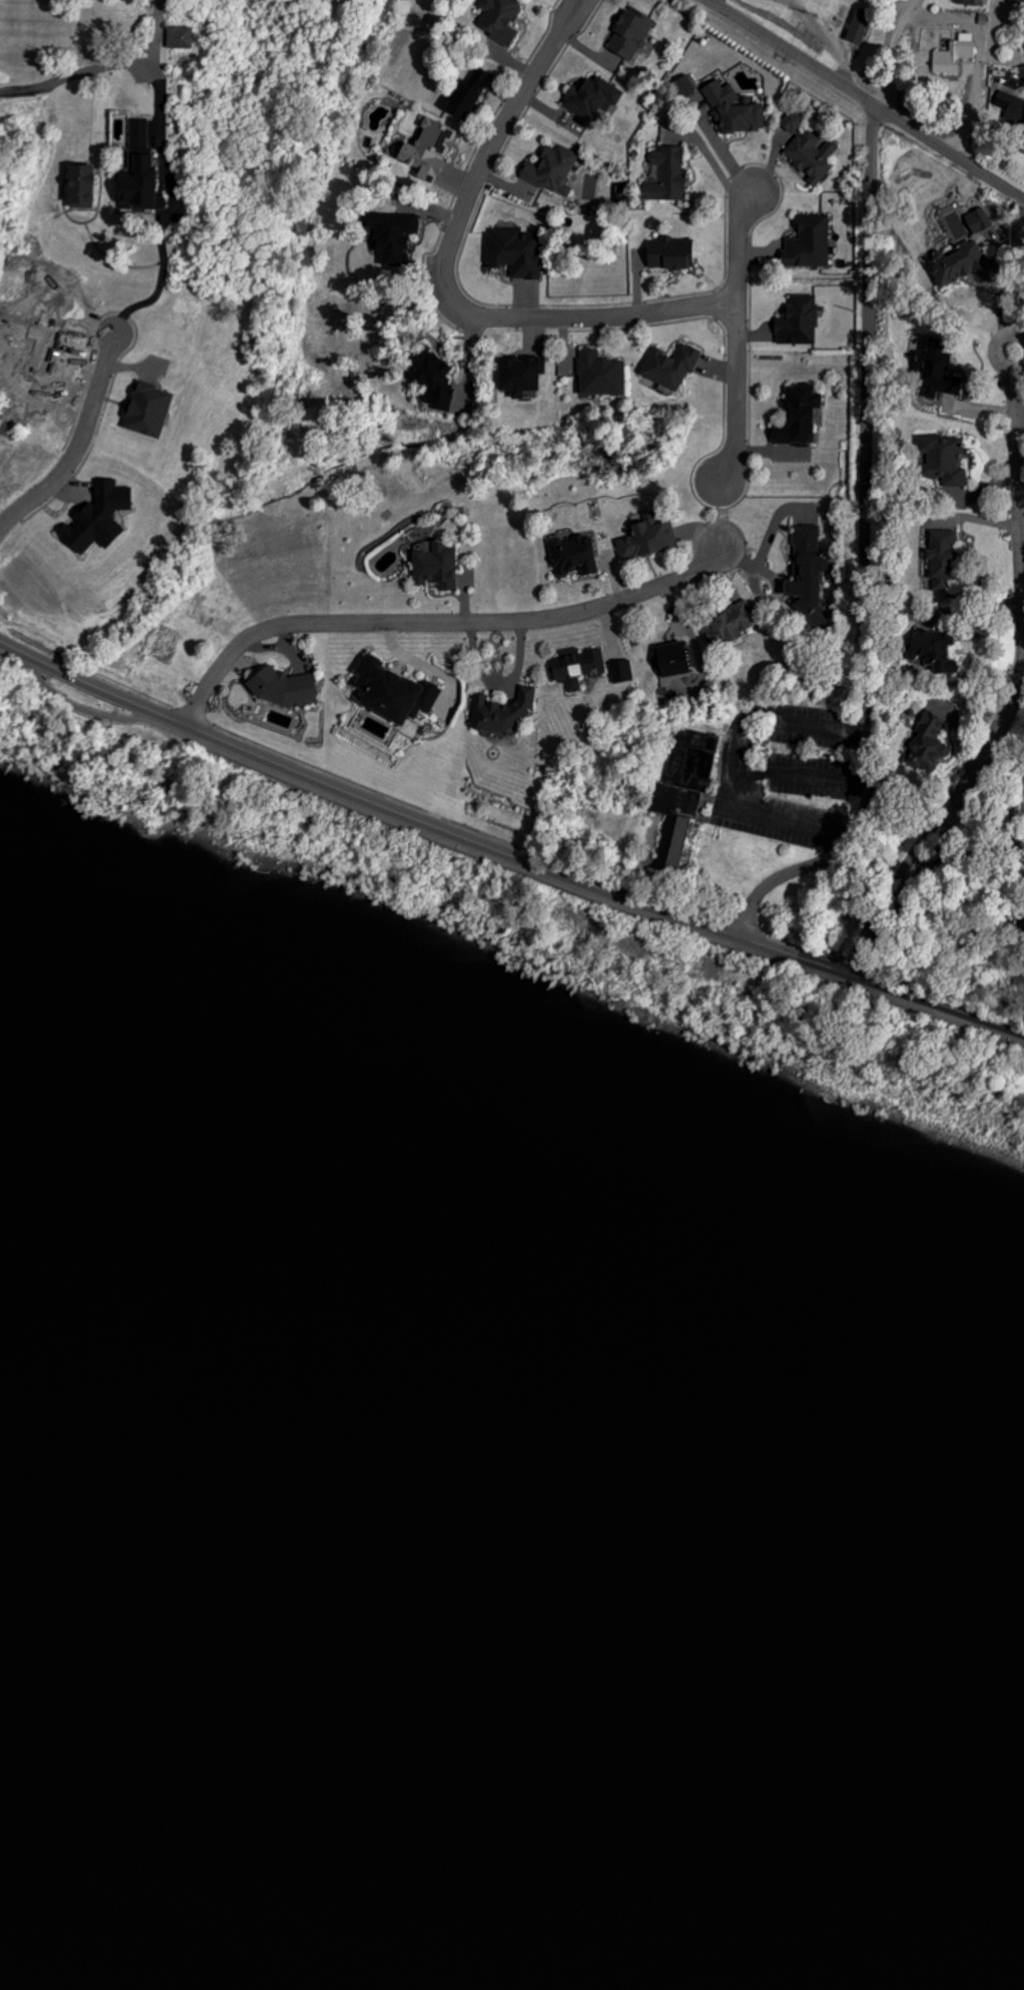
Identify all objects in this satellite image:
building: (899, 0)
building: (1017, 1)
building: (965, 2)
road: (912, 7)
road: (556, 15)
road: (573, 19)
building: (498, 20)
road: (951, 21)
building: (862, 29)
building: (628, 35)
building: (179, 37)
building: (953, 56)
road: (105, 68)
building: (686, 85)
building: (465, 92)
road: (3, 93)
building: (590, 97)
road: (863, 101)
building: (734, 109)
building: (794, 122)
building: (812, 155)
building: (551, 170)
building: (666, 175)
building: (152, 178)
building: (92, 186)
road: (172, 206)
building: (390, 234)
building: (807, 245)
building: (513, 253)
building: (671, 254)
building: (962, 265)
road: (447, 296)
building: (799, 322)
road: (731, 334)
road: (991, 350)
building: (670, 366)
building: (519, 375)
building: (601, 375)
building: (429, 376)
building: (155, 410)
building: (798, 415)
road: (79, 444)
building: (942, 460)
building: (106, 517)
building: (648, 539)
road: (859, 552)
building: (937, 553)
building: (572, 556)
building: (441, 565)
building: (804, 576)
road: (1021, 600)
road: (435, 621)
building: (733, 621)
building: (916, 645)
building: (671, 660)
building: (577, 667)
building: (623, 671)
building: (289, 689)
building: (402, 691)
building: (508, 713)
building: (926, 744)
road: (727, 757)
parking lot: (785, 774)
road: (795, 774)
building: (678, 796)
road: (455, 837)
road: (913, 844)
road: (926, 854)
road: (966, 856)
road: (503, 862)
road: (868, 928)
road: (974, 1015)
river: (512, 1297)
river: (512, 1601)

